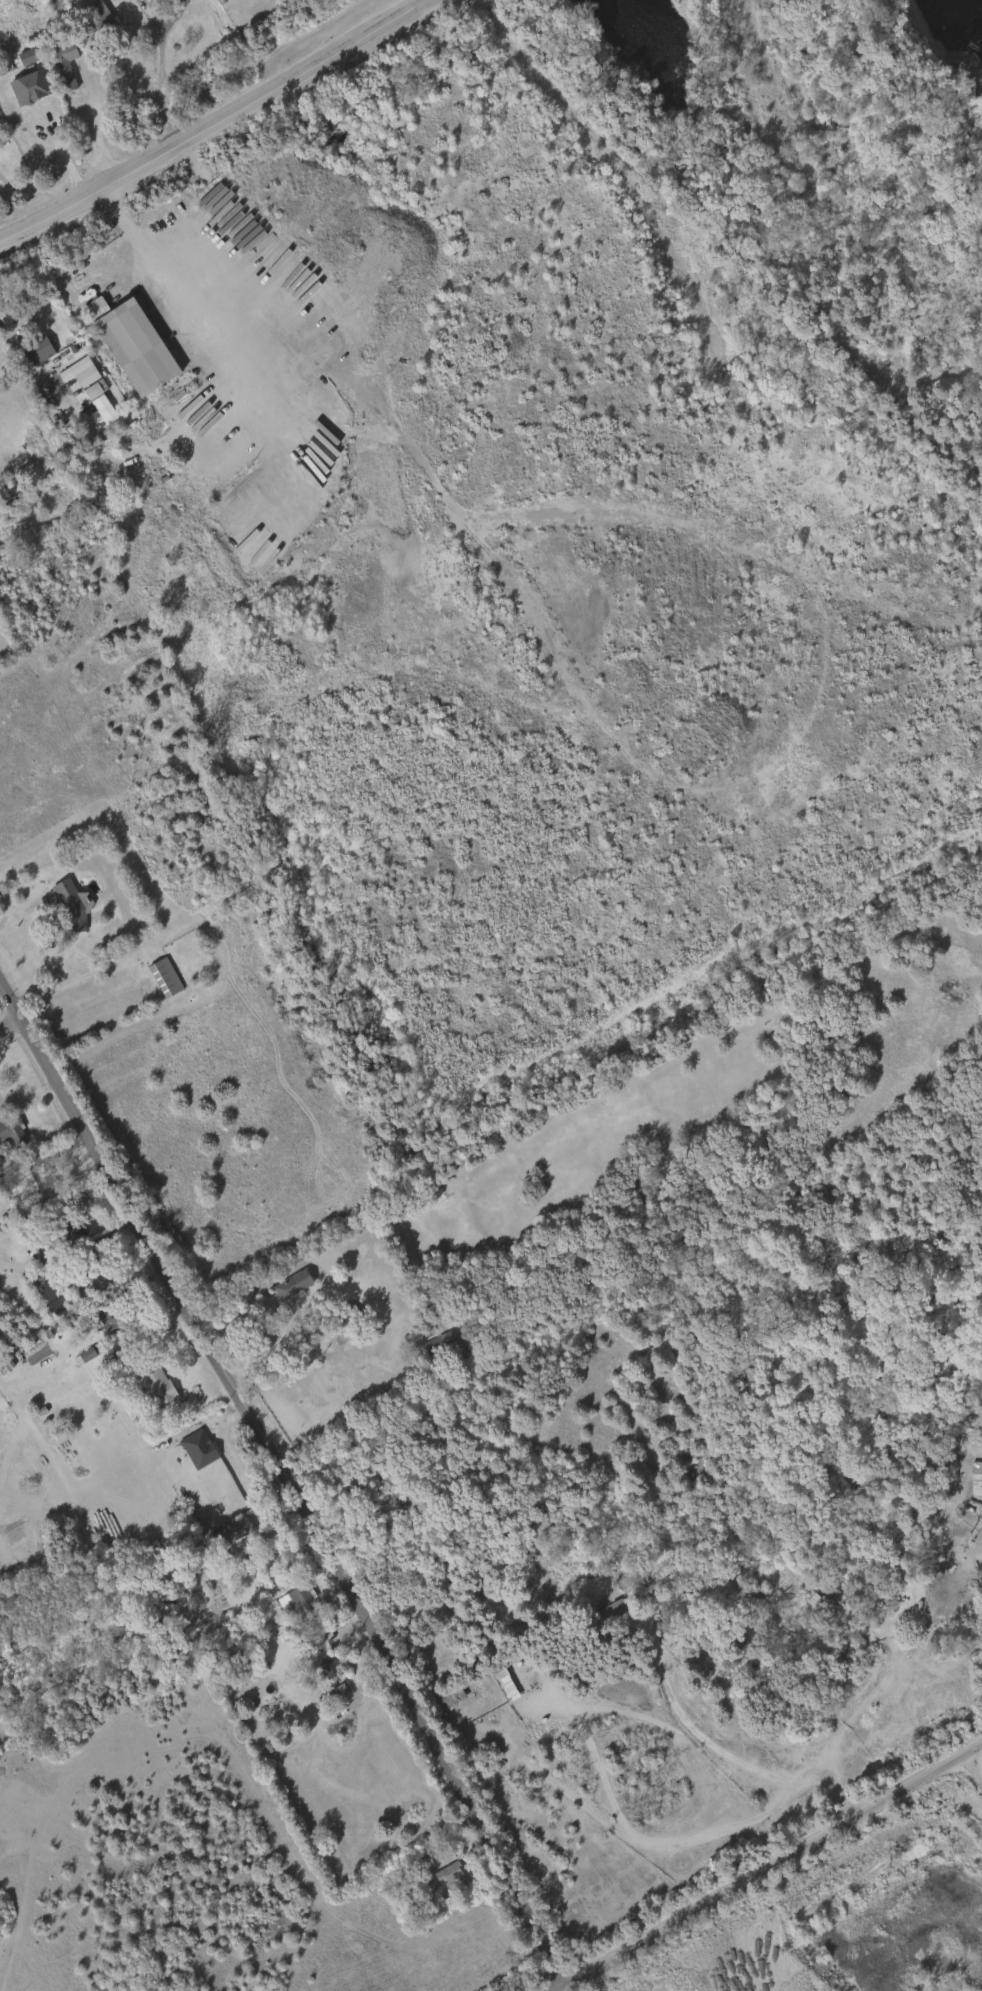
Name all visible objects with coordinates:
road: (150, 13)
road: (179, 16)
building: (100, 19)
building: (23, 57)
building: (67, 65)
building: (34, 87)
road: (163, 87)
road: (213, 124)
road: (99, 133)
road: (63, 150)
road: (231, 200)
road: (169, 286)
building: (135, 345)
building: (41, 349)
building: (82, 377)
building: (88, 391)
building: (74, 906)
road: (29, 910)
building: (168, 978)
road: (62, 983)
road: (8, 1022)
building: (14, 1132)
building: (44, 1177)
building: (66, 1225)
building: (93, 1269)
building: (296, 1286)
building: (47, 1294)
building: (344, 1316)
building: (113, 1322)
building: (439, 1346)
building: (82, 1354)
building: (160, 1387)
building: (201, 1449)
building: (977, 1479)
road: (286, 1485)
building: (232, 1529)
building: (301, 1602)
building: (614, 1612)
building: (597, 1614)
building: (174, 1649)
building: (325, 1667)
building: (334, 1669)
road: (777, 1870)
building: (450, 1874)

